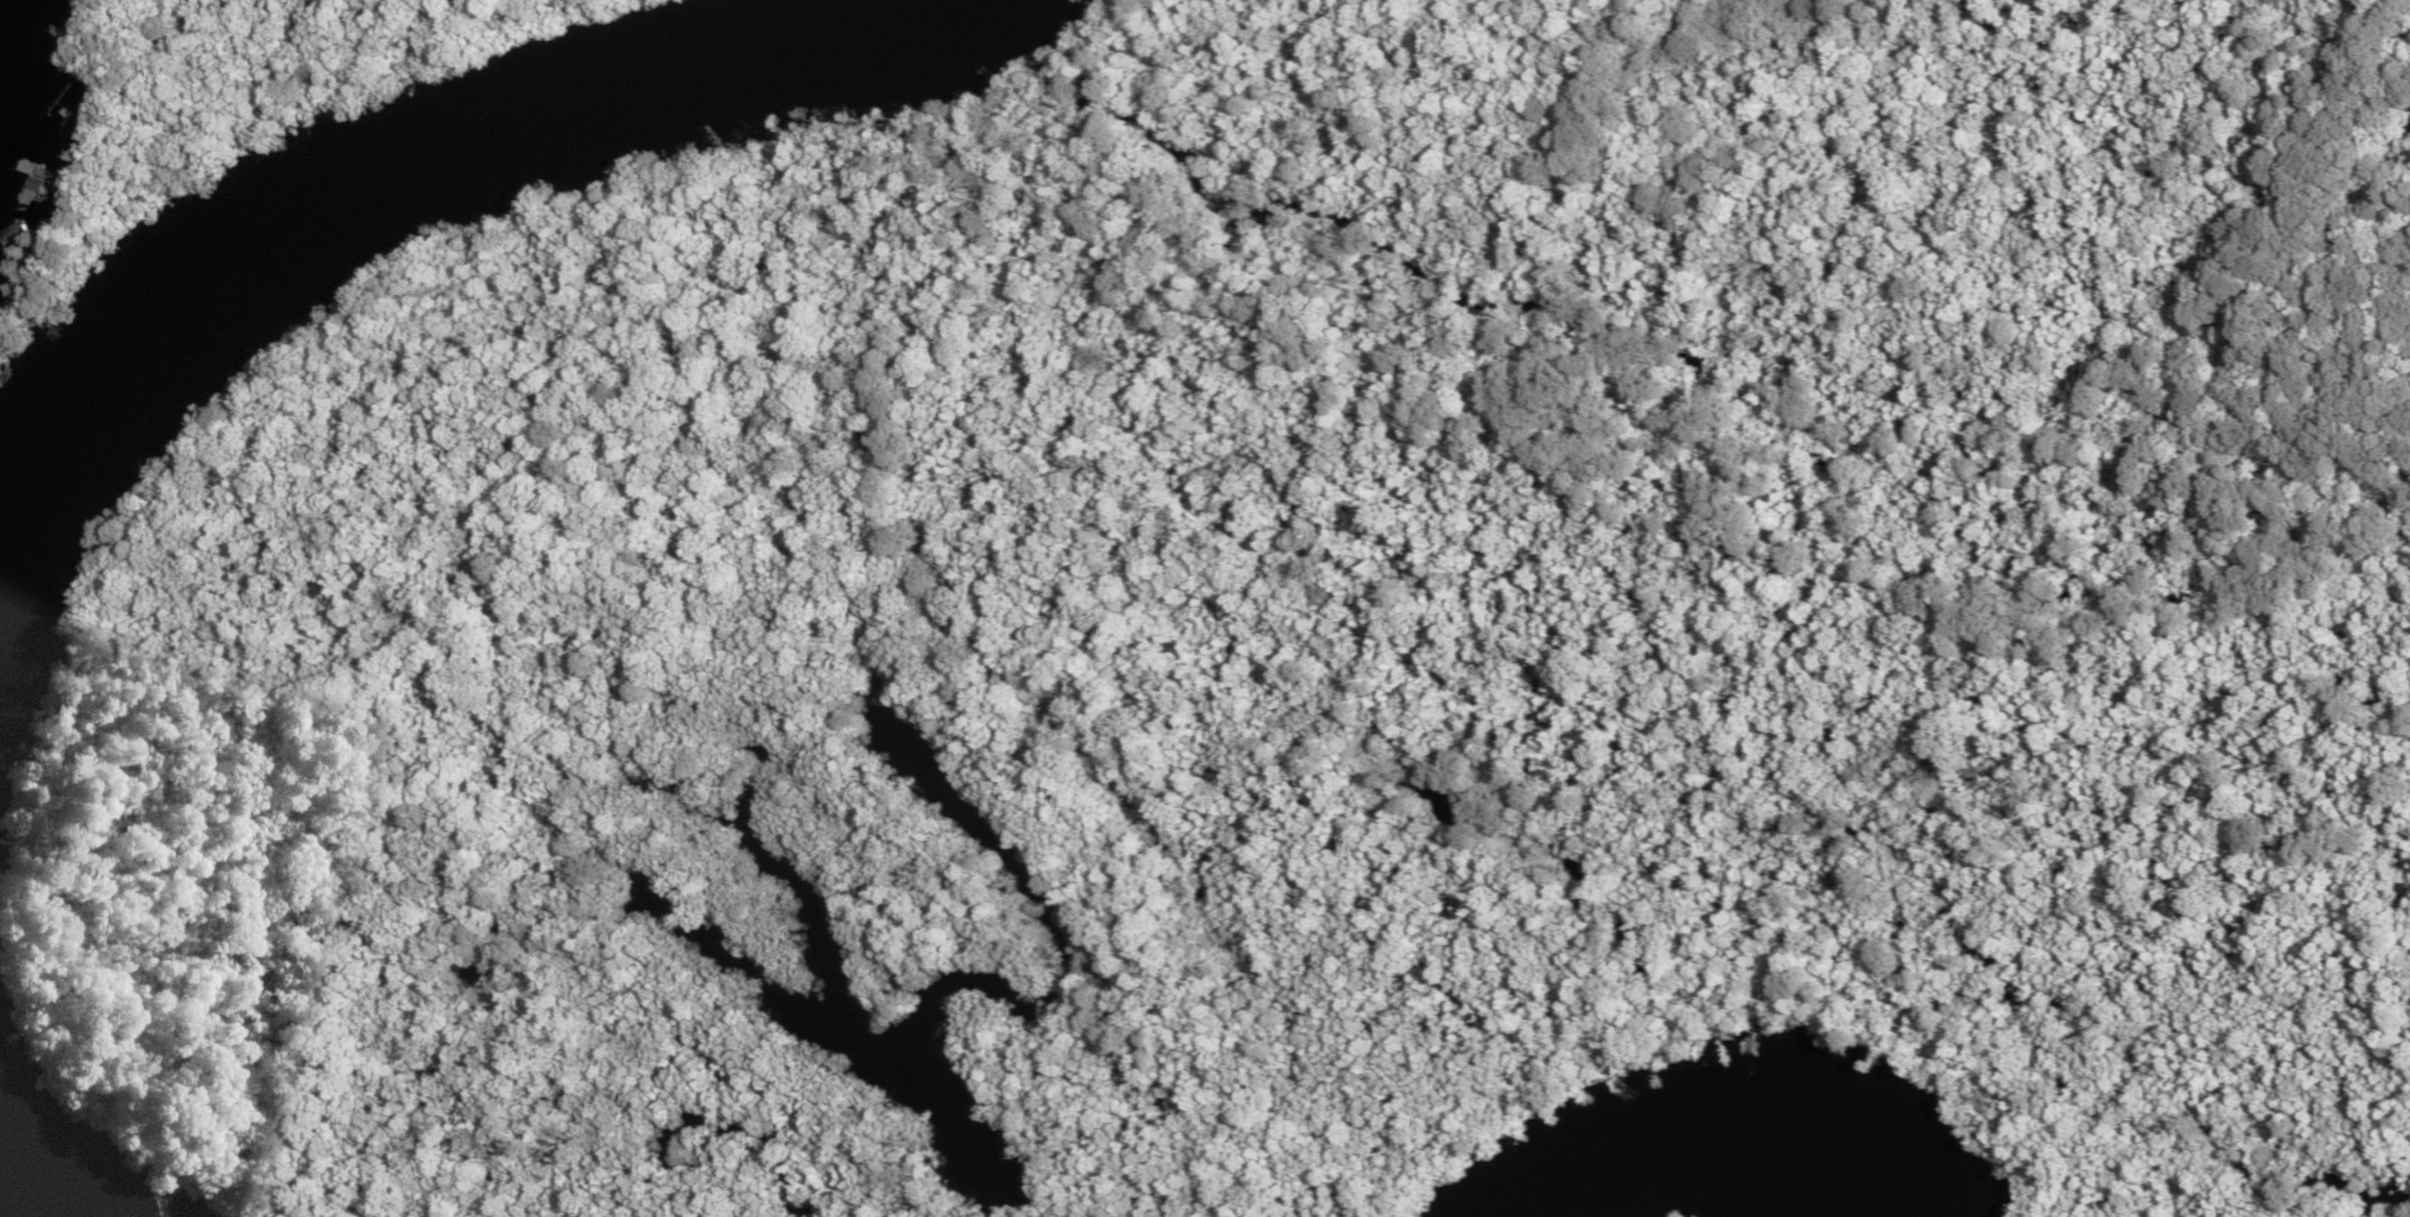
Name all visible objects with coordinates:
river: (375, 173)
river: (1690, 1151)
dam: (185, 1163)
dam: (142, 1194)

